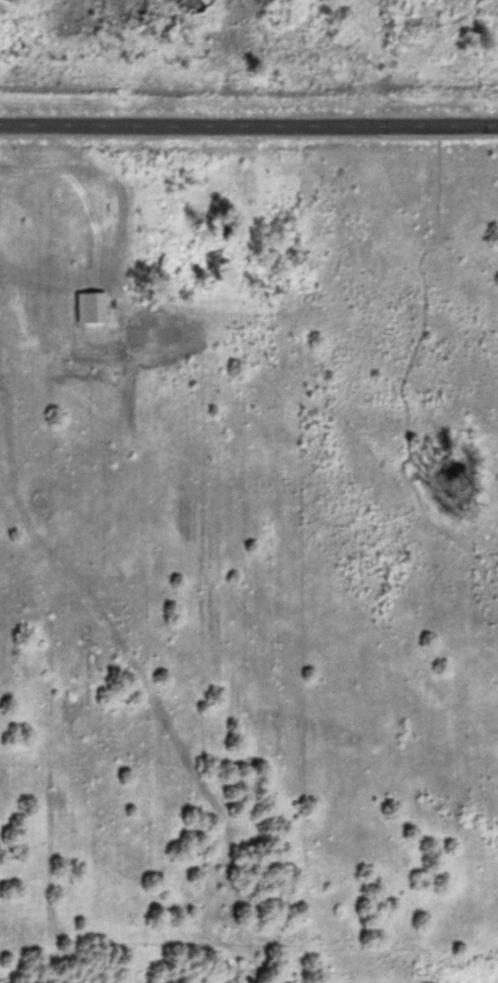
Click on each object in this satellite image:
road: (248, 124)

